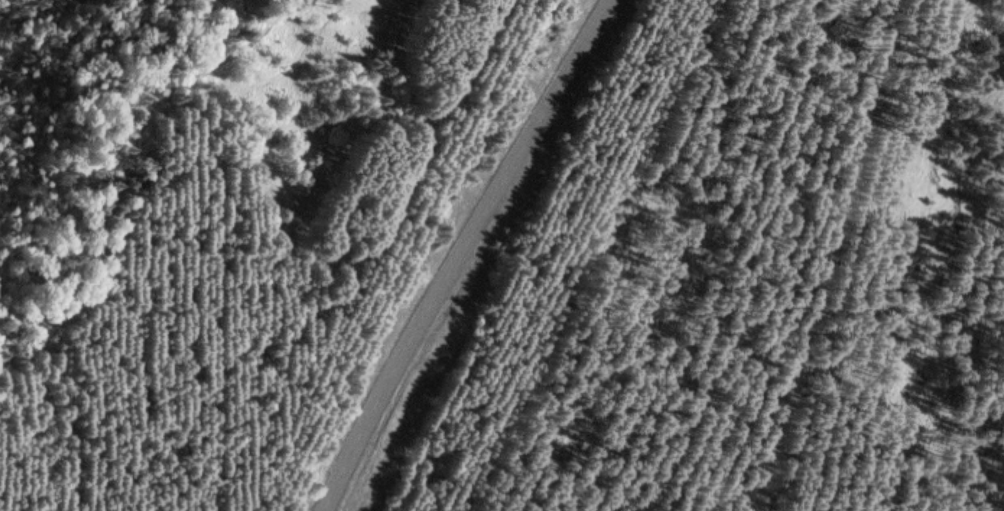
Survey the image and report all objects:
road: (133, 169)
road: (464, 252)

